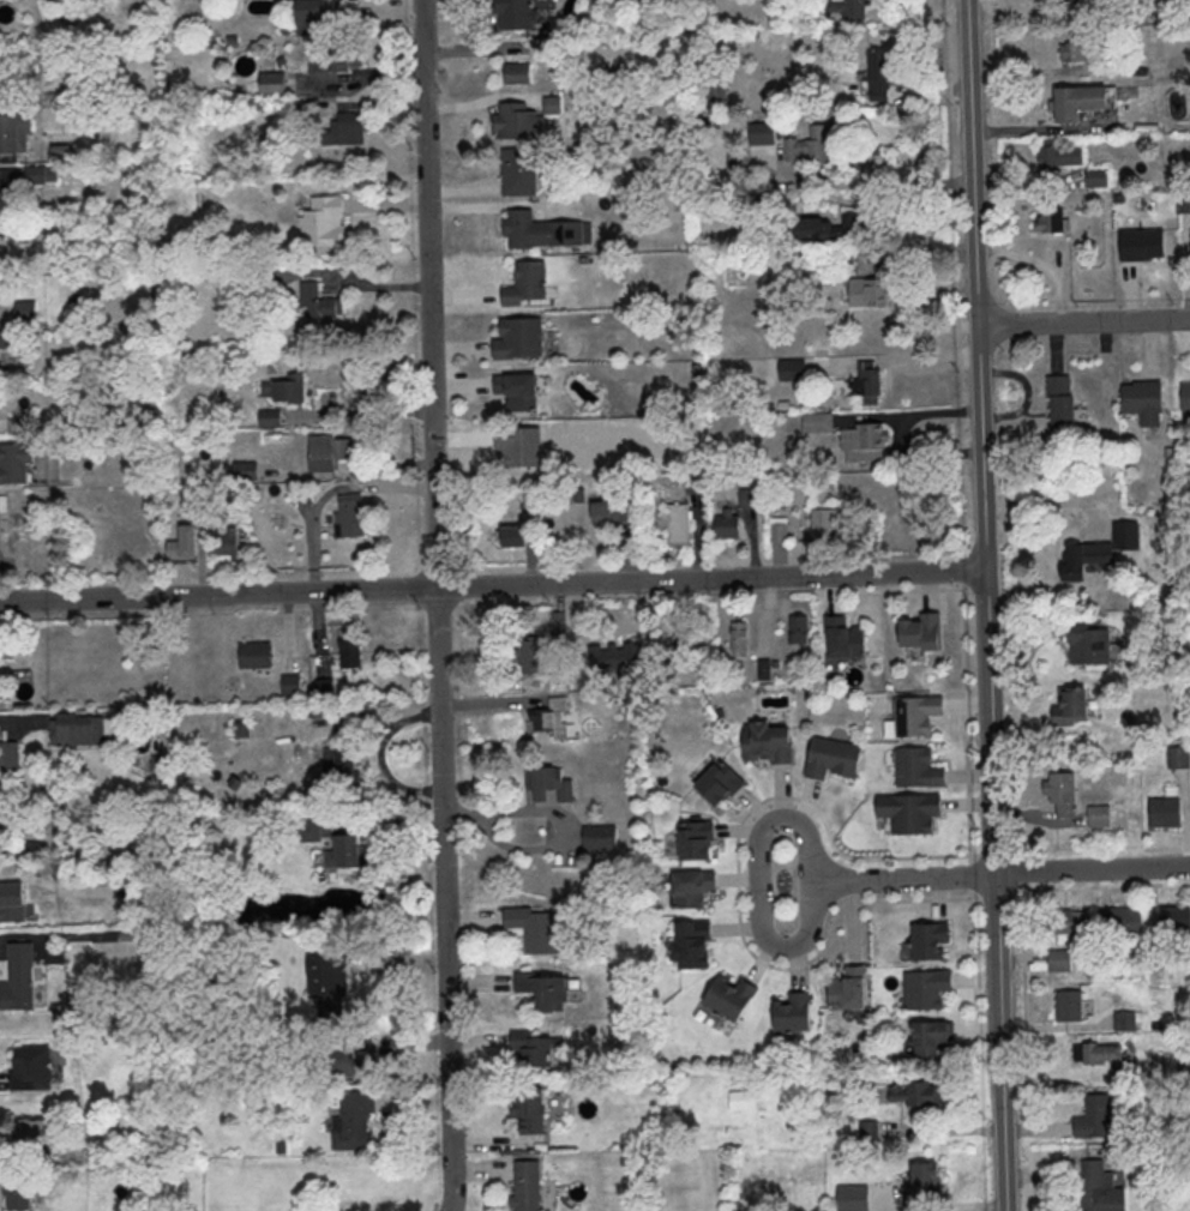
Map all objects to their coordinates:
building: (836, 8)
road: (1033, 13)
building: (515, 14)
building: (313, 16)
building: (1074, 50)
building: (335, 66)
building: (11, 70)
building: (517, 74)
building: (881, 74)
road: (354, 84)
building: (272, 85)
building: (717, 94)
building: (1078, 103)
road: (369, 107)
building: (552, 107)
building: (306, 112)
building: (518, 123)
building: (347, 131)
building: (14, 134)
building: (762, 134)
building: (813, 145)
building: (60, 151)
building: (1058, 155)
road: (972, 162)
building: (41, 174)
building: (518, 174)
building: (1096, 176)
road: (893, 183)
road: (908, 200)
building: (1184, 201)
road: (384, 204)
building: (1050, 218)
building: (320, 222)
building: (827, 230)
building: (543, 233)
building: (1140, 243)
building: (872, 261)
building: (527, 285)
building: (870, 291)
road: (428, 293)
building: (317, 302)
building: (26, 313)
road: (1083, 323)
building: (6, 341)
building: (519, 341)
road: (891, 359)
building: (793, 372)
building: (867, 384)
building: (284, 387)
building: (518, 393)
building: (1141, 396)
building: (1185, 396)
building: (1060, 405)
road: (355, 414)
building: (268, 416)
road: (907, 416)
building: (818, 423)
building: (19, 428)
building: (864, 444)
road: (981, 448)
building: (327, 450)
building: (14, 464)
building: (303, 495)
building: (749, 500)
building: (2, 504)
building: (612, 510)
building: (349, 514)
road: (1101, 518)
building: (679, 523)
building: (727, 526)
building: (827, 526)
building: (780, 530)
building: (511, 536)
building: (182, 544)
building: (227, 544)
building: (1100, 553)
road: (493, 588)
building: (799, 631)
building: (922, 634)
building: (740, 639)
building: (843, 640)
building: (1088, 643)
building: (349, 646)
building: (528, 653)
building: (619, 656)
building: (256, 657)
building: (764, 671)
building: (292, 687)
building: (324, 691)
building: (1071, 706)
building: (914, 715)
building: (549, 719)
road: (990, 722)
building: (79, 729)
building: (767, 745)
building: (10, 755)
building: (1179, 759)
building: (333, 760)
building: (833, 760)
building: (915, 767)
building: (549, 785)
building: (717, 785)
building: (1060, 791)
building: (908, 811)
building: (1165, 814)
building: (1098, 818)
building: (308, 830)
building: (4, 832)
building: (601, 839)
building: (696, 843)
building: (28, 848)
building: (343, 852)
road: (738, 862)
road: (1093, 870)
building: (606, 873)
road: (903, 880)
road: (759, 882)
road: (1105, 887)
building: (691, 891)
road: (444, 899)
building: (12, 902)
building: (1176, 921)
building: (1120, 922)
building: (1071, 924)
building: (534, 932)
building: (930, 940)
building: (693, 947)
building: (1156, 960)
building: (1059, 963)
building: (18, 980)
building: (327, 984)
building: (925, 988)
building: (848, 992)
building: (545, 993)
building: (731, 1000)
building: (1068, 1005)
building: (793, 1016)
building: (1125, 1024)
road: (1058, 1029)
building: (928, 1037)
road: (1000, 1042)
building: (533, 1052)
building: (1100, 1055)
building: (354, 1059)
building: (28, 1073)
building: (914, 1092)
building: (741, 1099)
building: (530, 1113)
building: (1096, 1120)
building: (353, 1122)
building: (28, 1132)
building: (527, 1187)
building: (921, 1188)
building: (1100, 1188)
building: (18, 1197)

